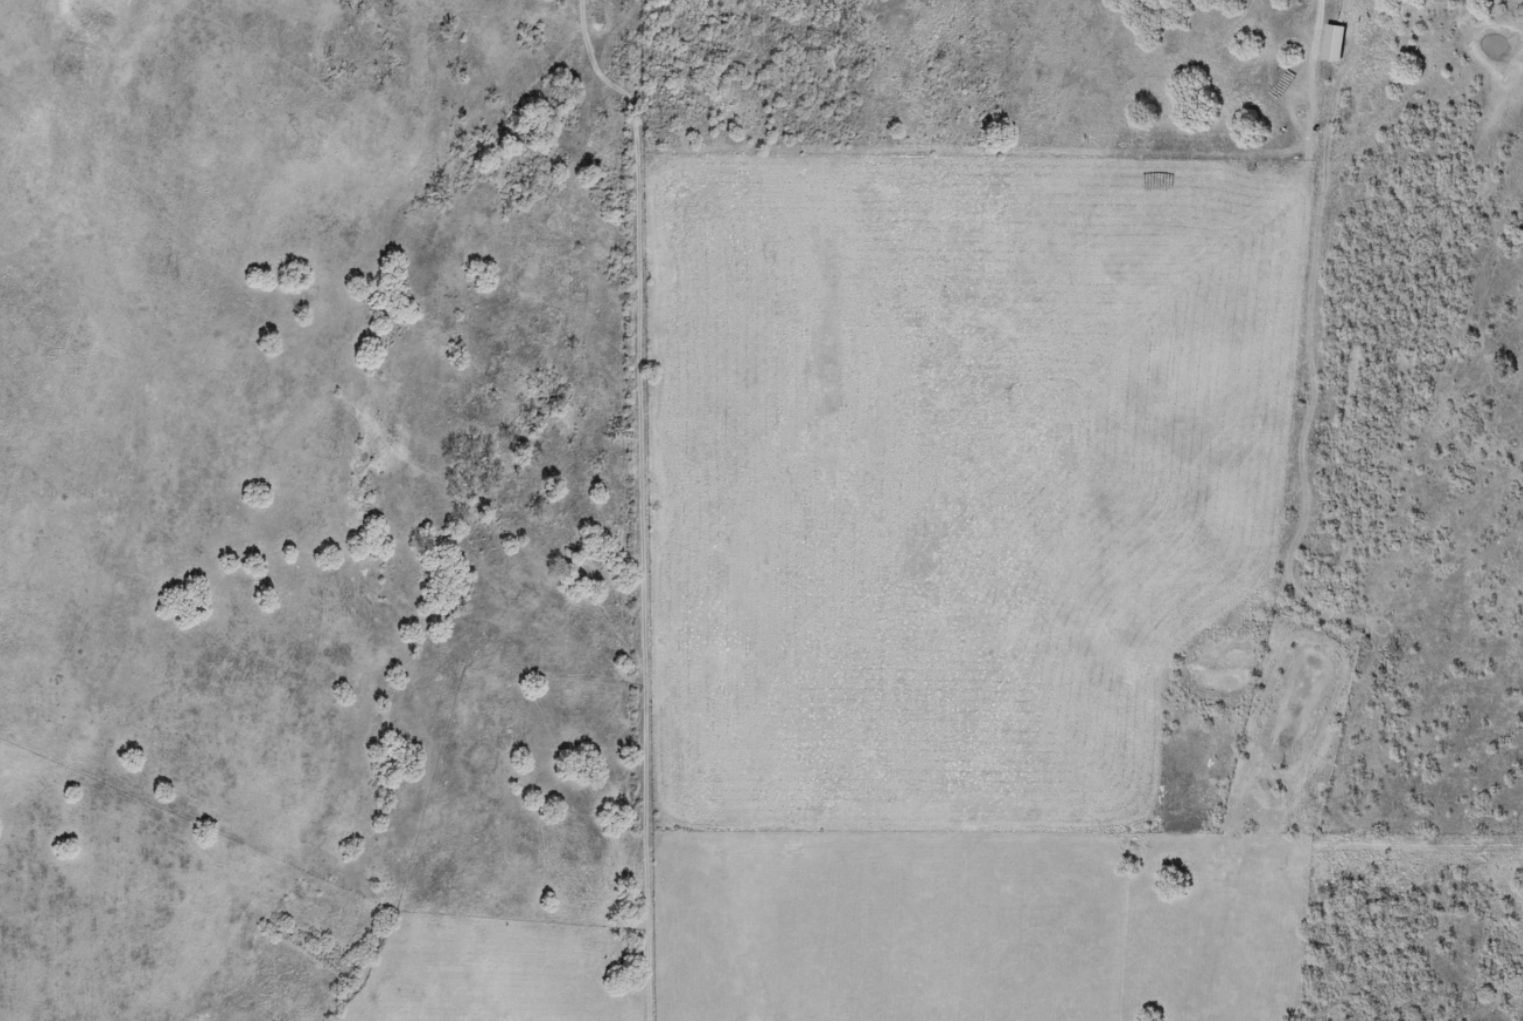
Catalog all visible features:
road: (2, 4)

